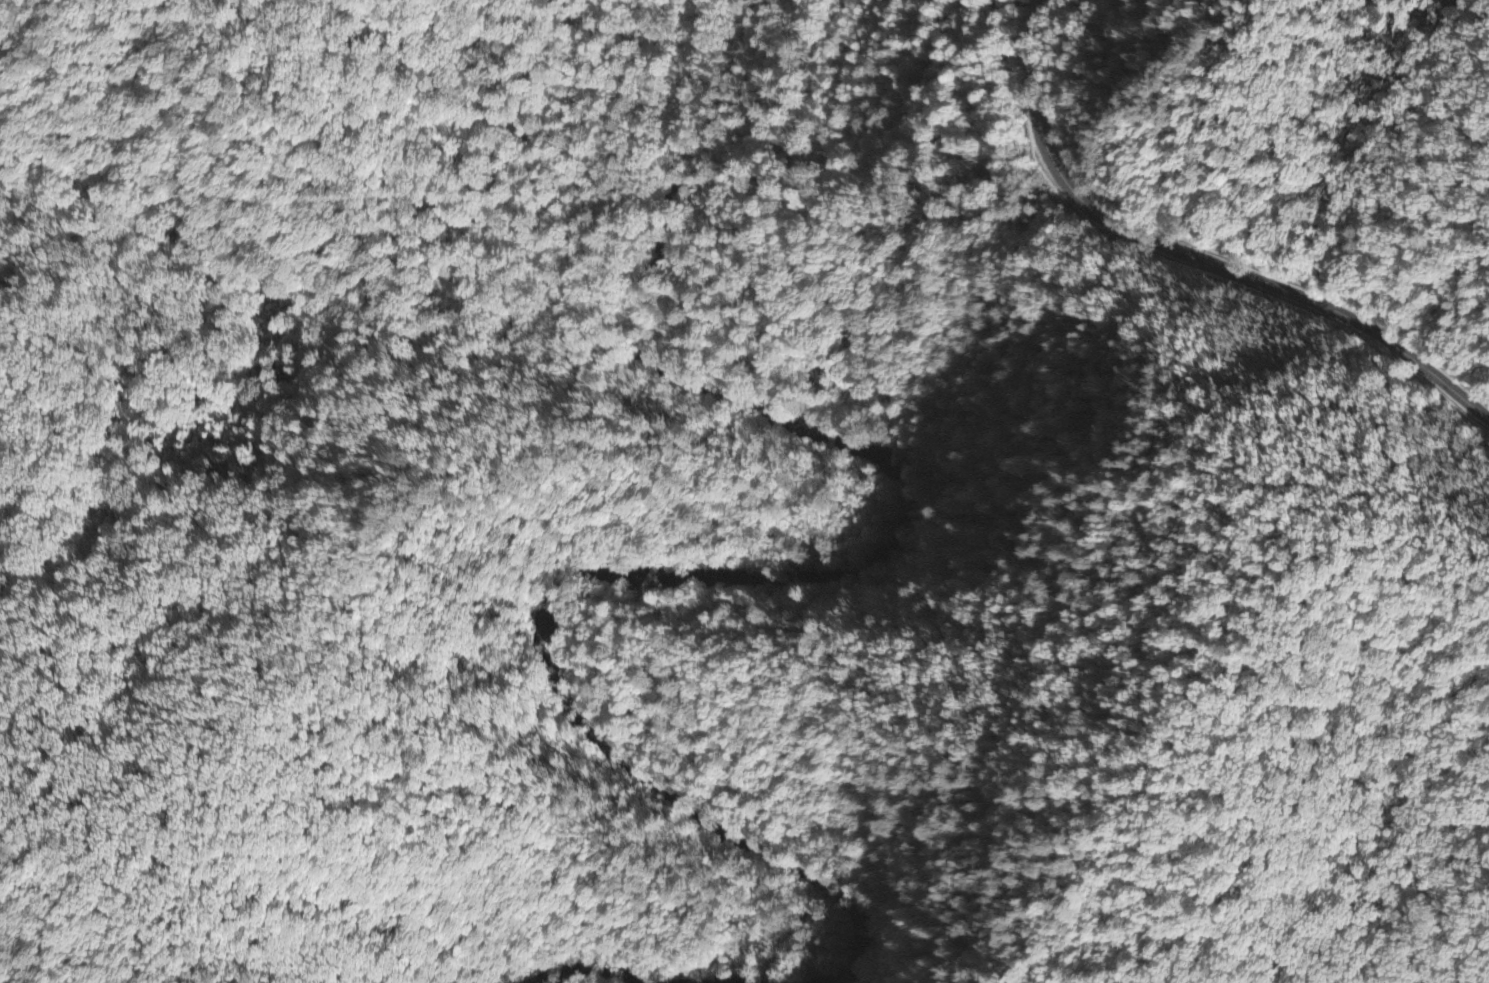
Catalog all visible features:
road: (1191, 257)

